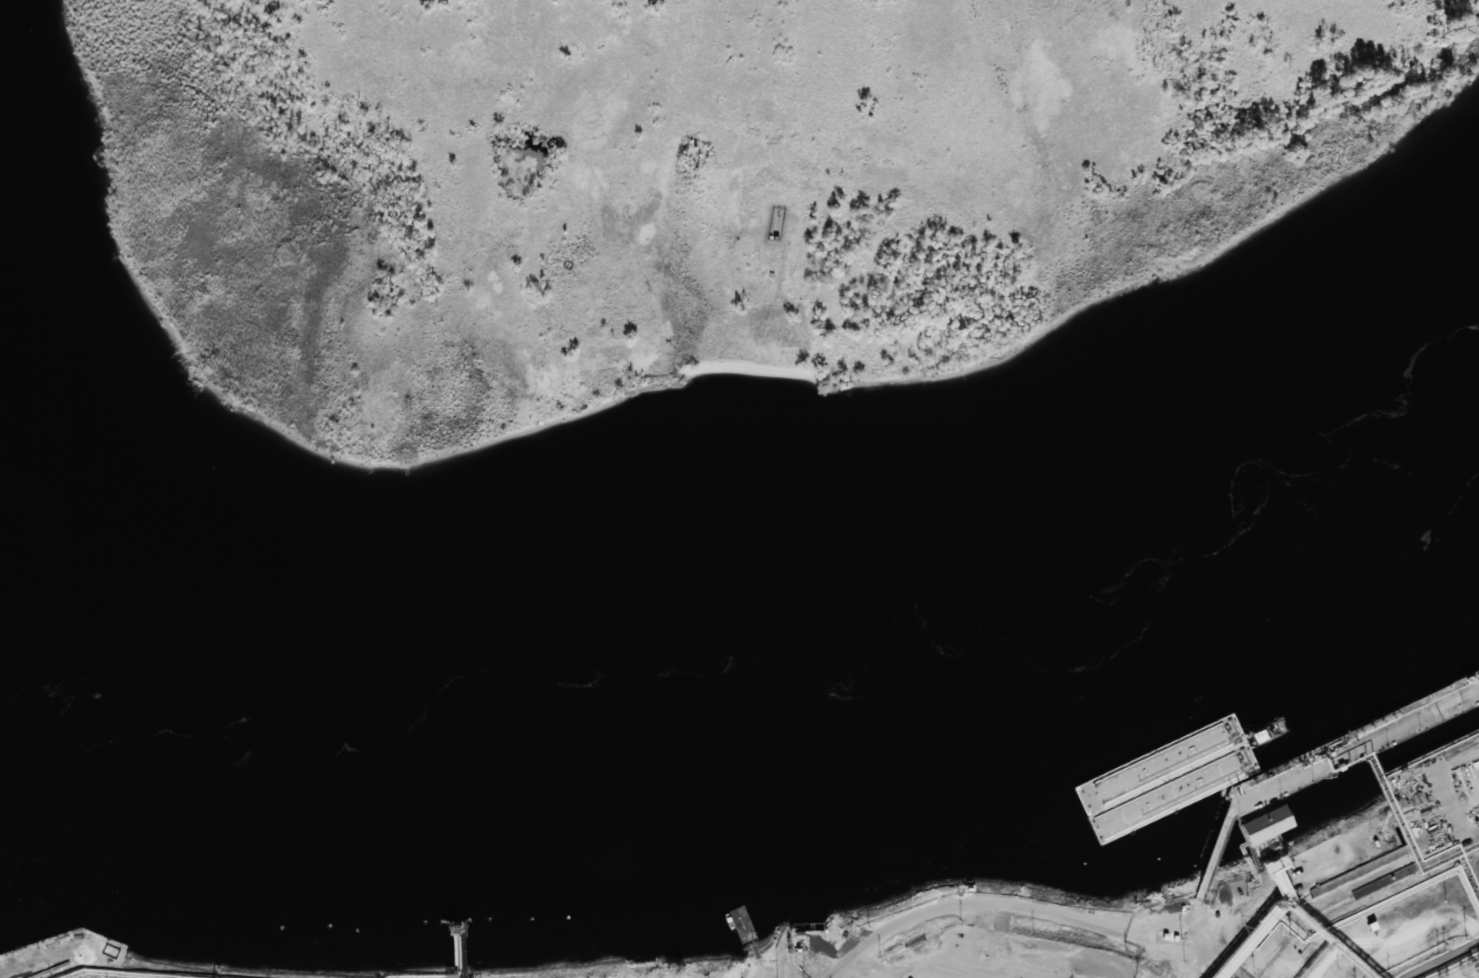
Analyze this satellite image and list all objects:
river: (758, 657)
building: (1435, 804)
building: (1265, 826)
road: (1447, 961)
road: (1452, 970)

